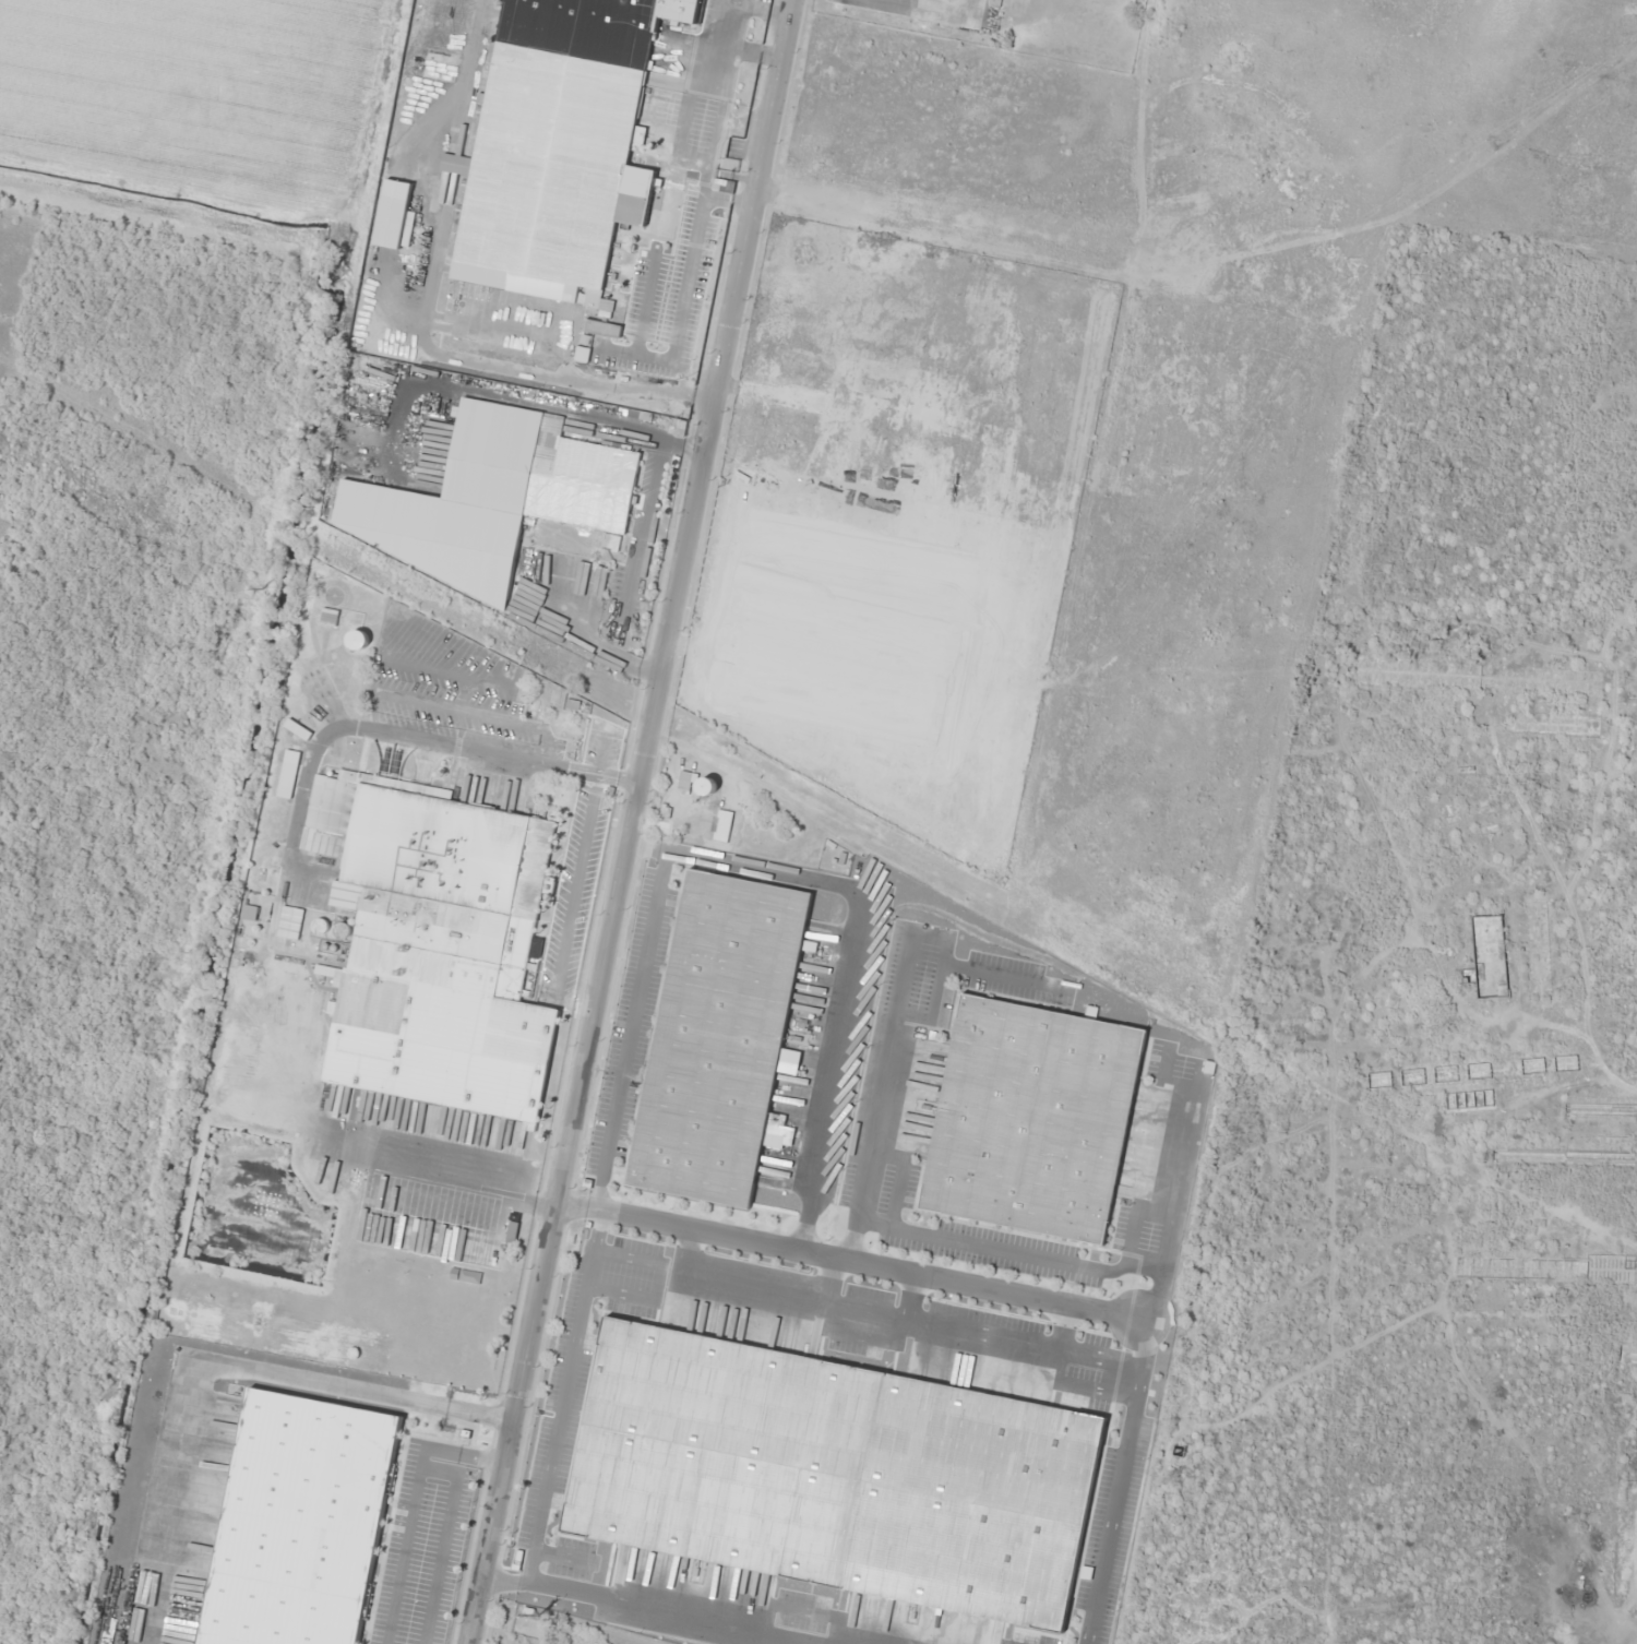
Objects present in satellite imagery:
power tower: (277, 587)
power tower: (204, 951)
power tower: (135, 1315)

